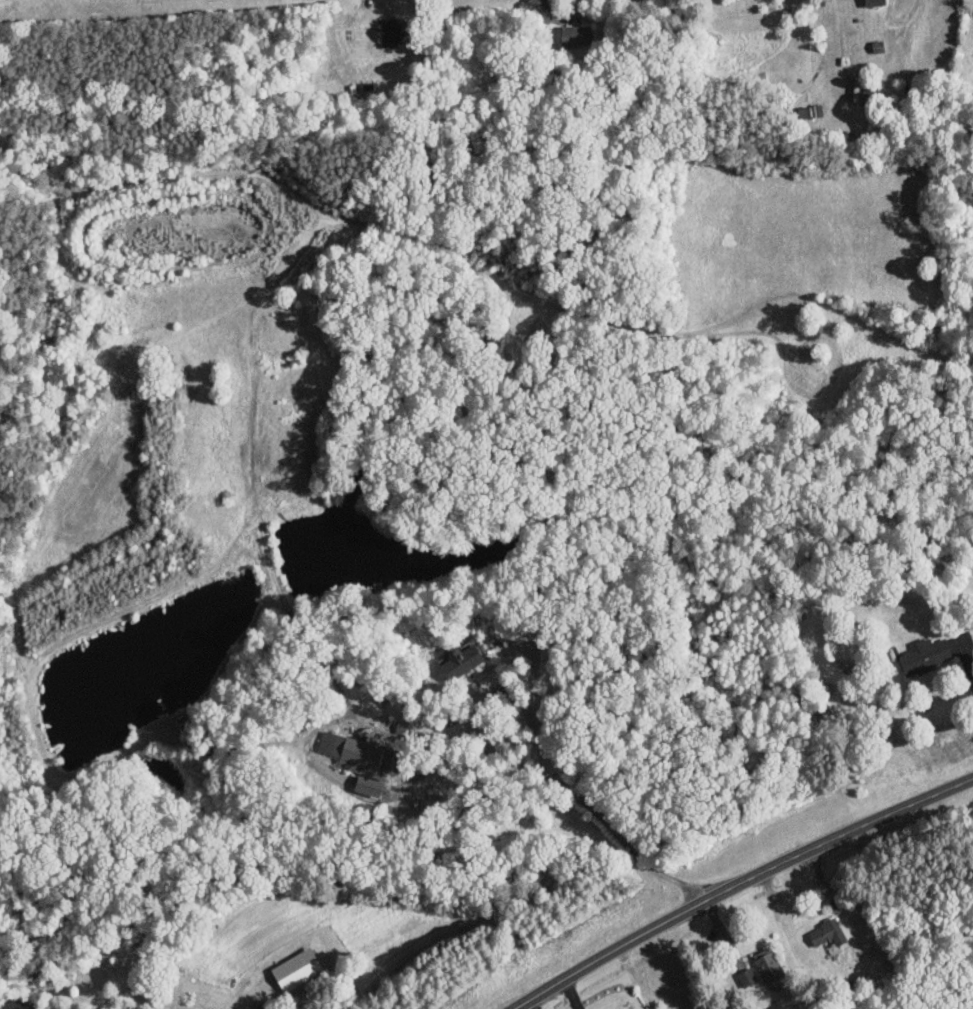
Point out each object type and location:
building: (872, 2)
building: (388, 30)
building: (573, 34)
building: (924, 655)
building: (459, 660)
road: (965, 662)
road: (544, 752)
building: (357, 759)
road: (738, 885)
road: (799, 888)
building: (825, 932)
building: (766, 964)
building: (294, 968)
building: (744, 976)
road: (569, 994)
road: (531, 1004)

